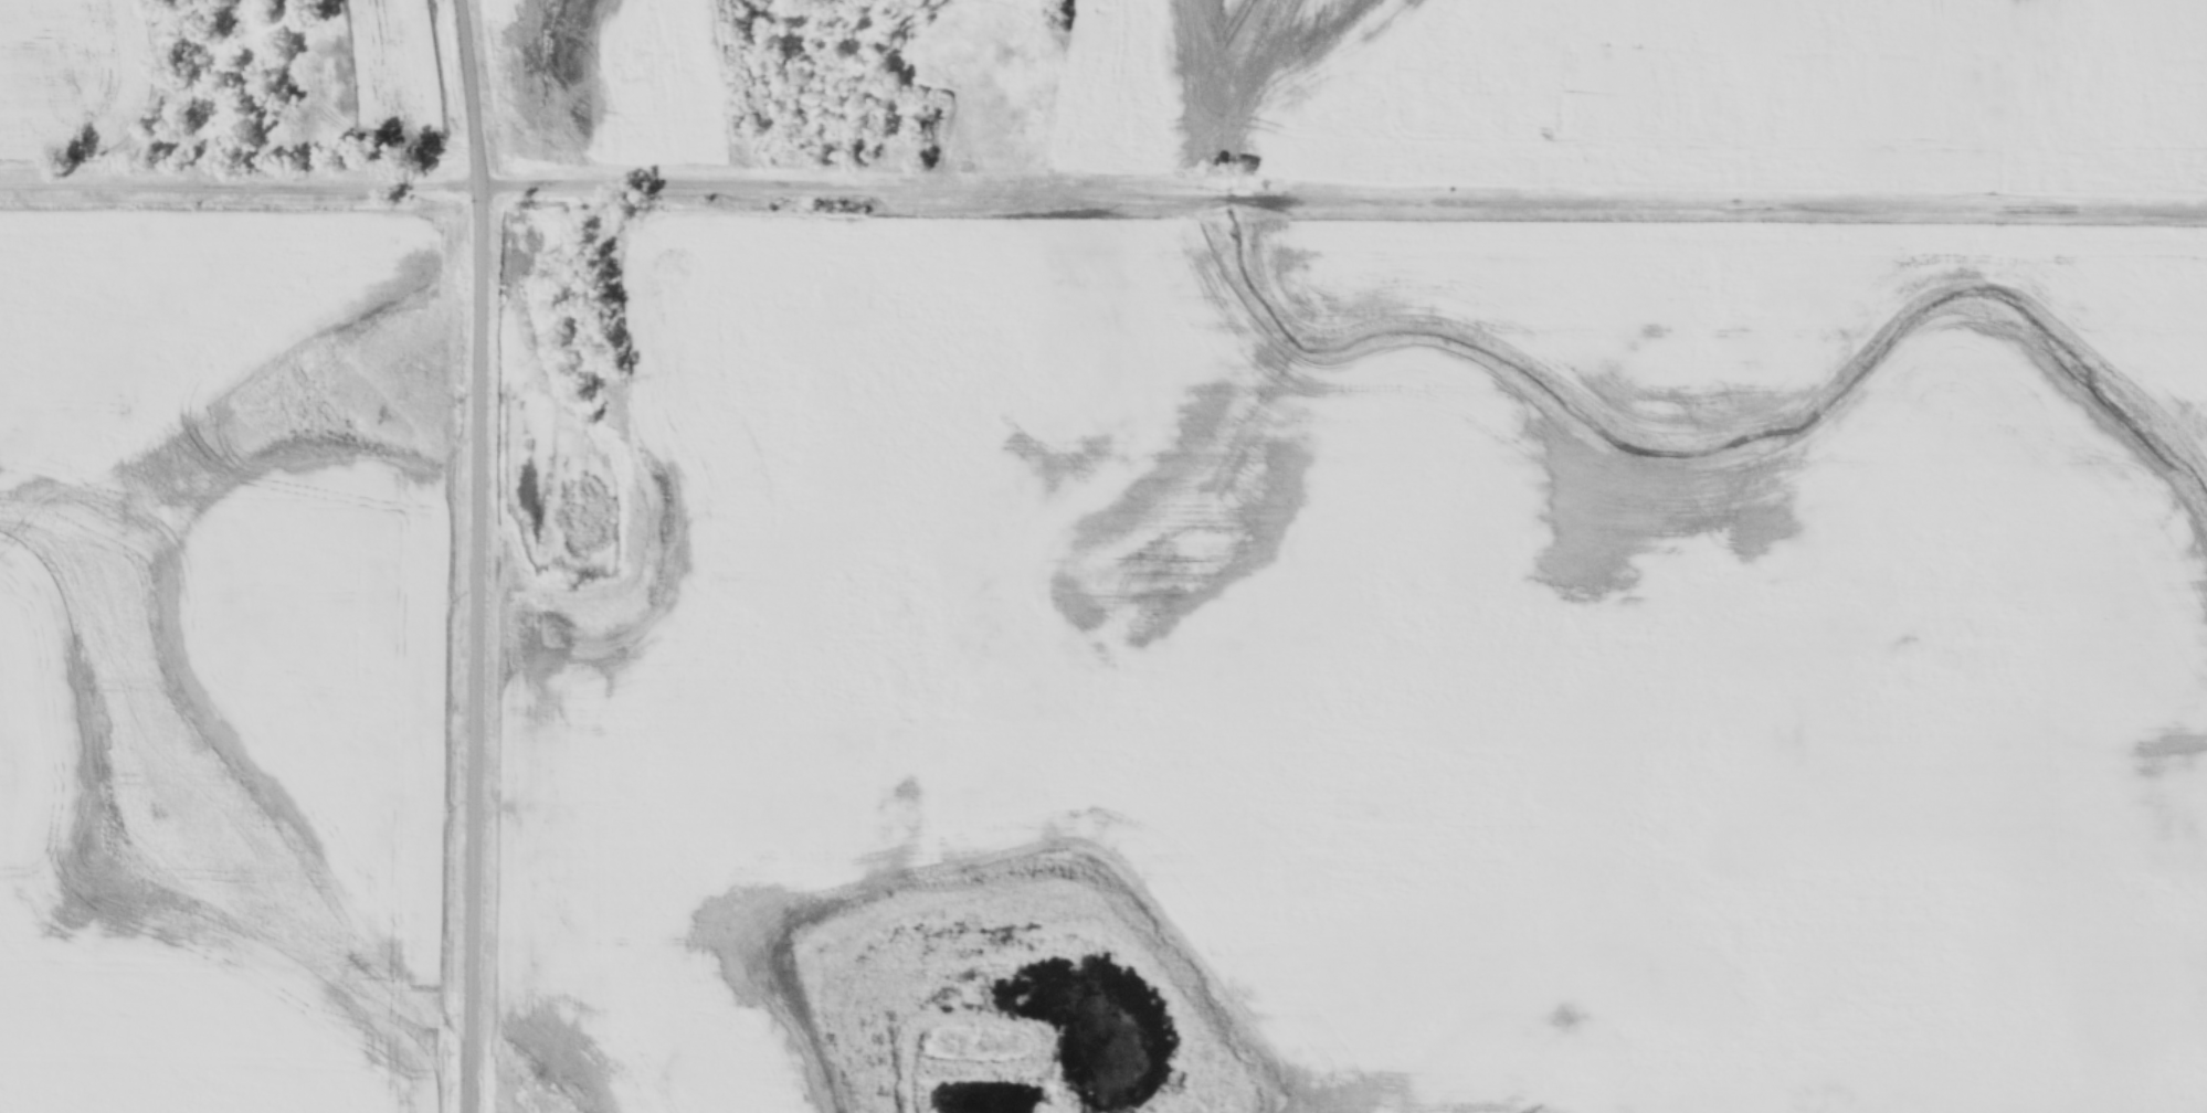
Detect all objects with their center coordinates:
road: (240, 187)
road: (1344, 204)
road: (475, 555)

